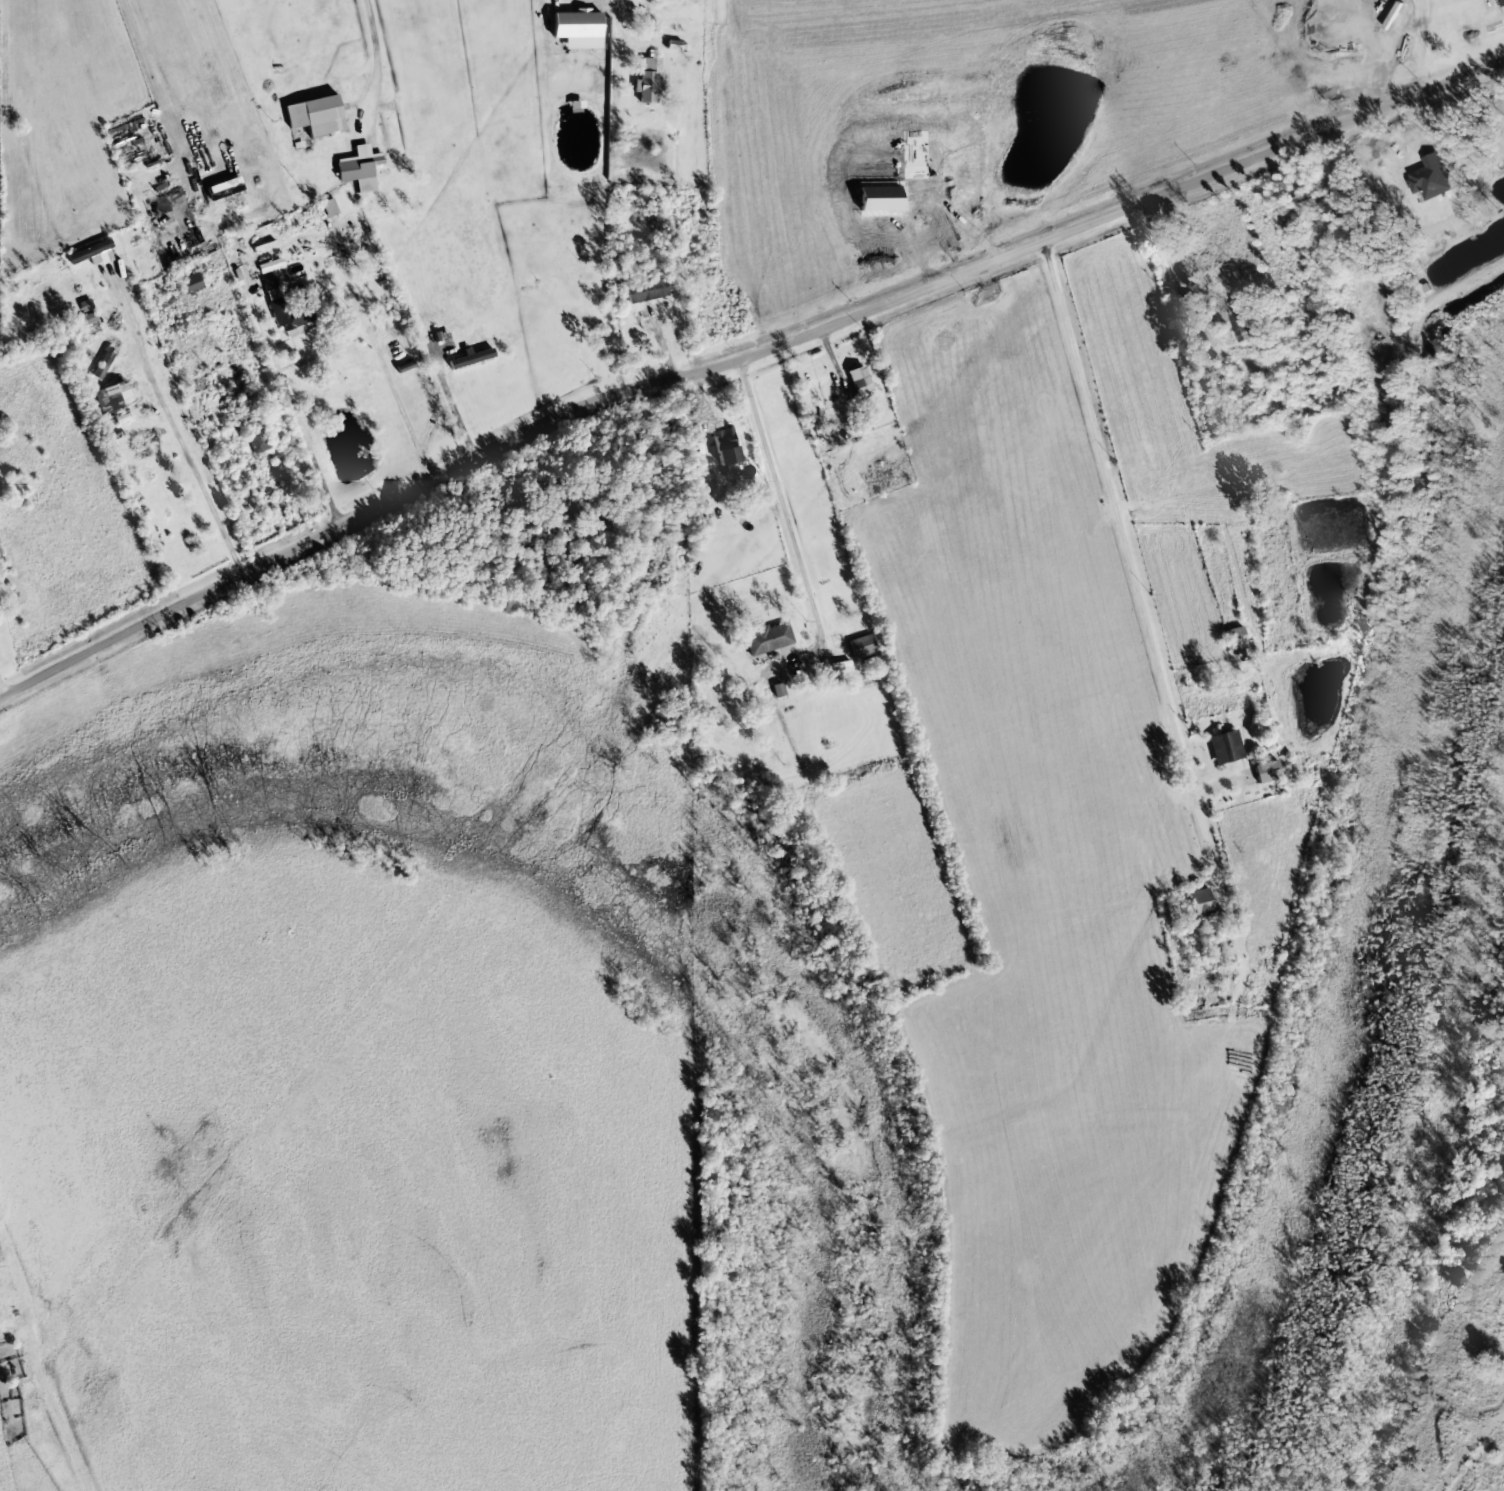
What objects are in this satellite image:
building: (1503, 1)
building: (645, 82)
building: (313, 115)
building: (359, 169)
building: (1430, 177)
building: (222, 188)
building: (328, 207)
building: (90, 254)
building: (269, 266)
building: (644, 291)
building: (288, 319)
building: (1241, 322)
road: (741, 359)
building: (102, 363)
building: (858, 379)
building: (112, 397)
building: (724, 446)
road: (781, 503)
building: (1234, 636)
building: (767, 638)
building: (860, 647)
building: (1224, 747)
building: (1265, 772)
building: (1199, 902)

